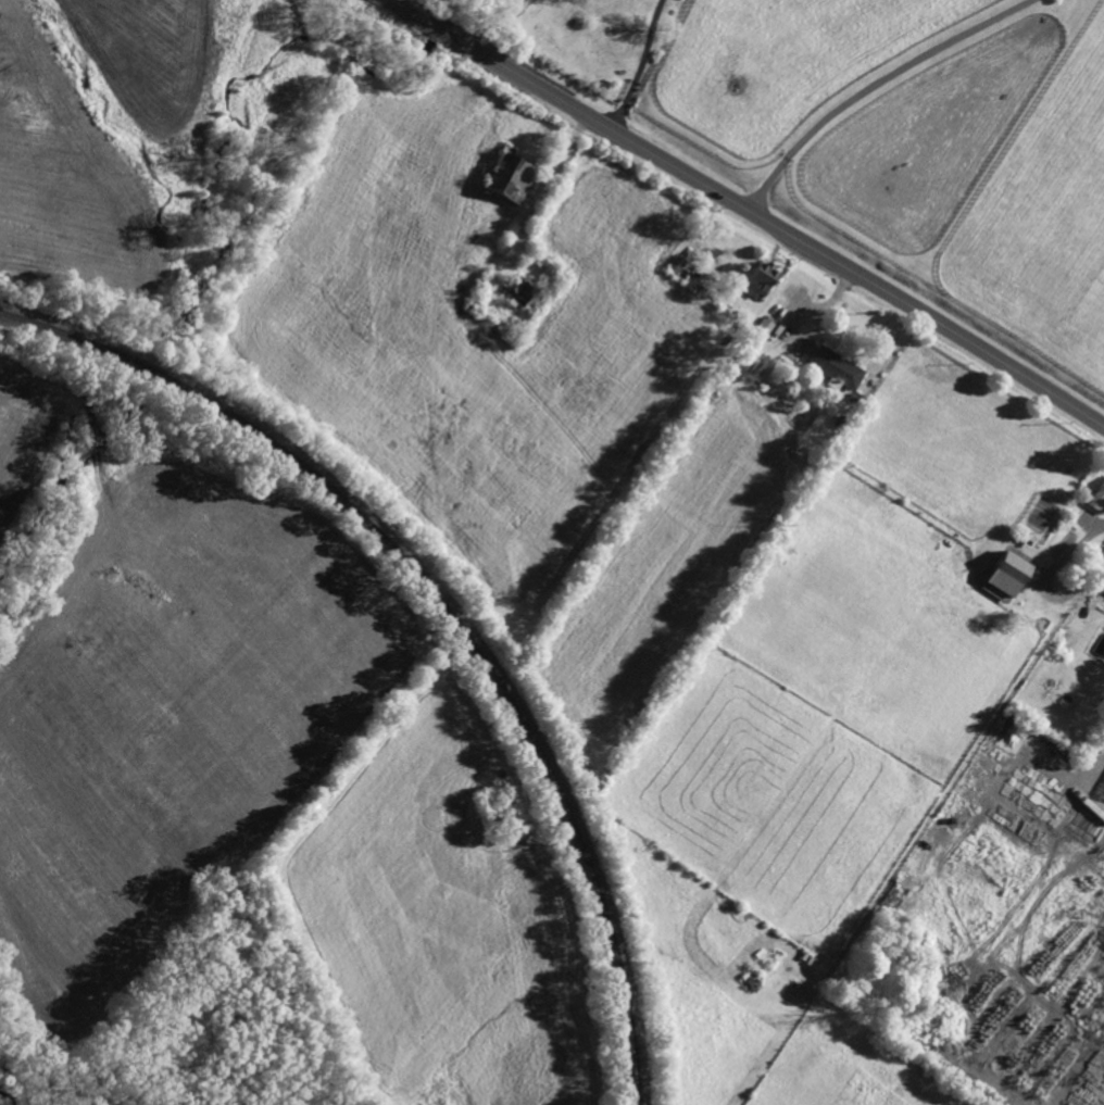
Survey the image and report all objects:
building: (615, 63)
road: (640, 66)
road: (871, 85)
building: (512, 177)
road: (748, 209)
building: (675, 262)
building: (701, 271)
building: (682, 273)
building: (758, 276)
building: (520, 288)
building: (472, 302)
building: (764, 324)
building: (836, 366)
building: (853, 395)
building: (830, 425)
building: (1097, 498)
building: (1004, 575)
building: (1103, 591)
railway: (446, 606)
building: (1043, 621)

